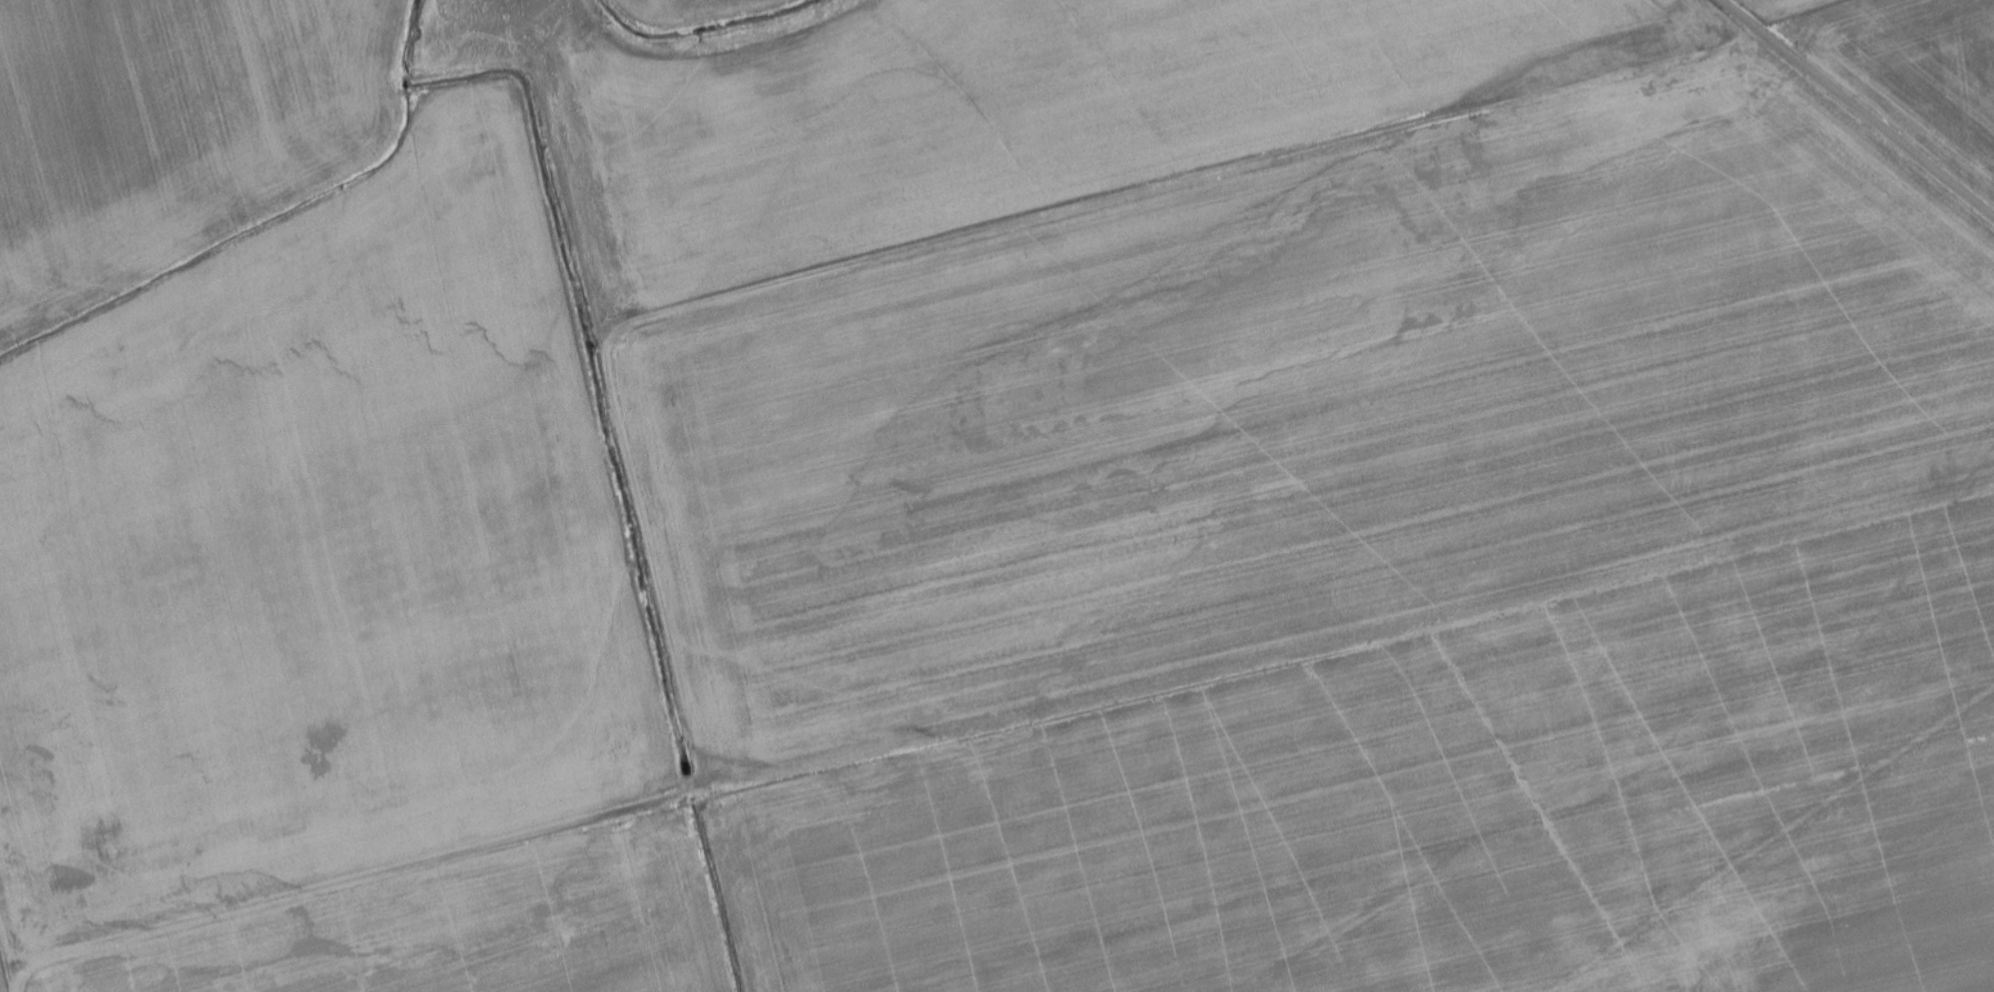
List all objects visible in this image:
road: (1855, 109)

